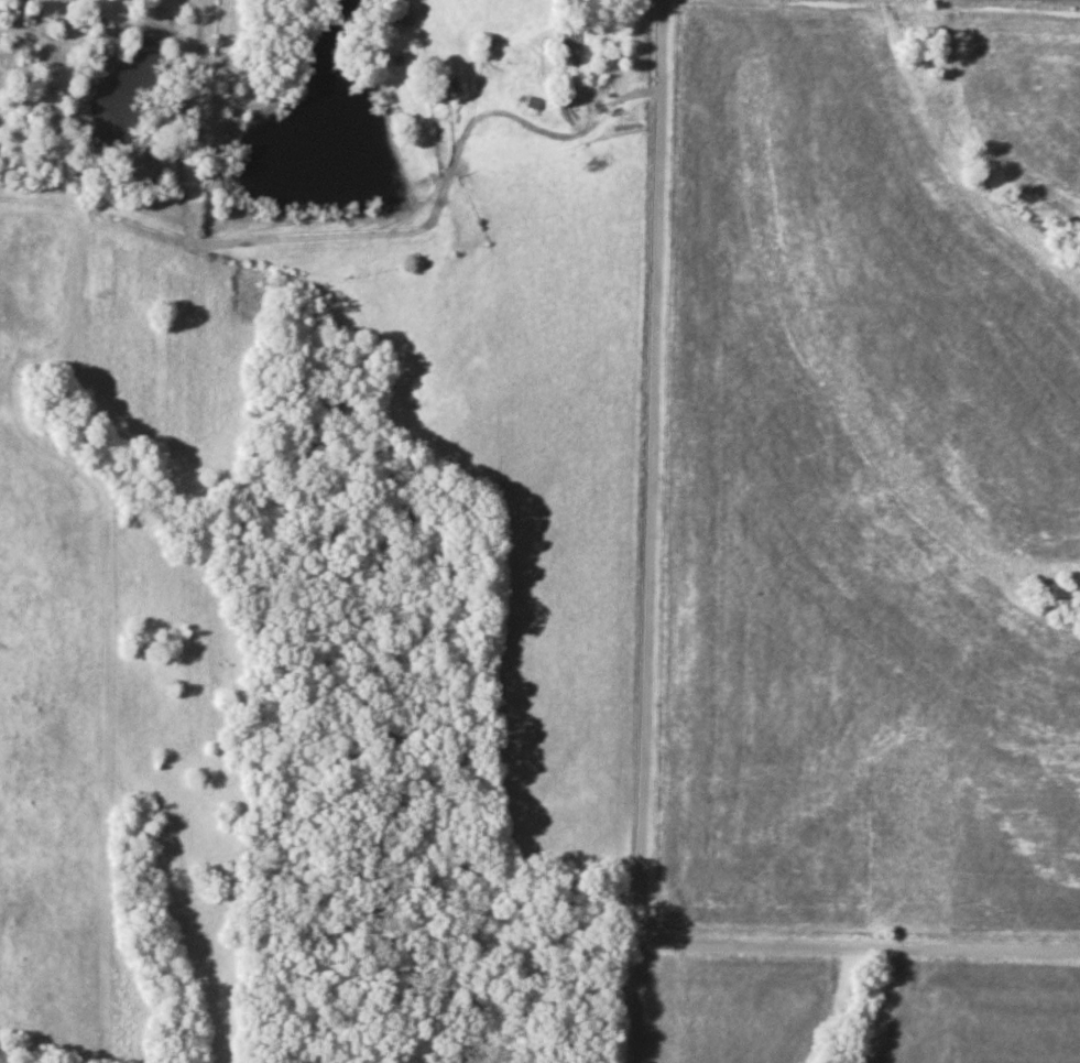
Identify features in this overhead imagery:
building: (589, 65)
road: (647, 685)

